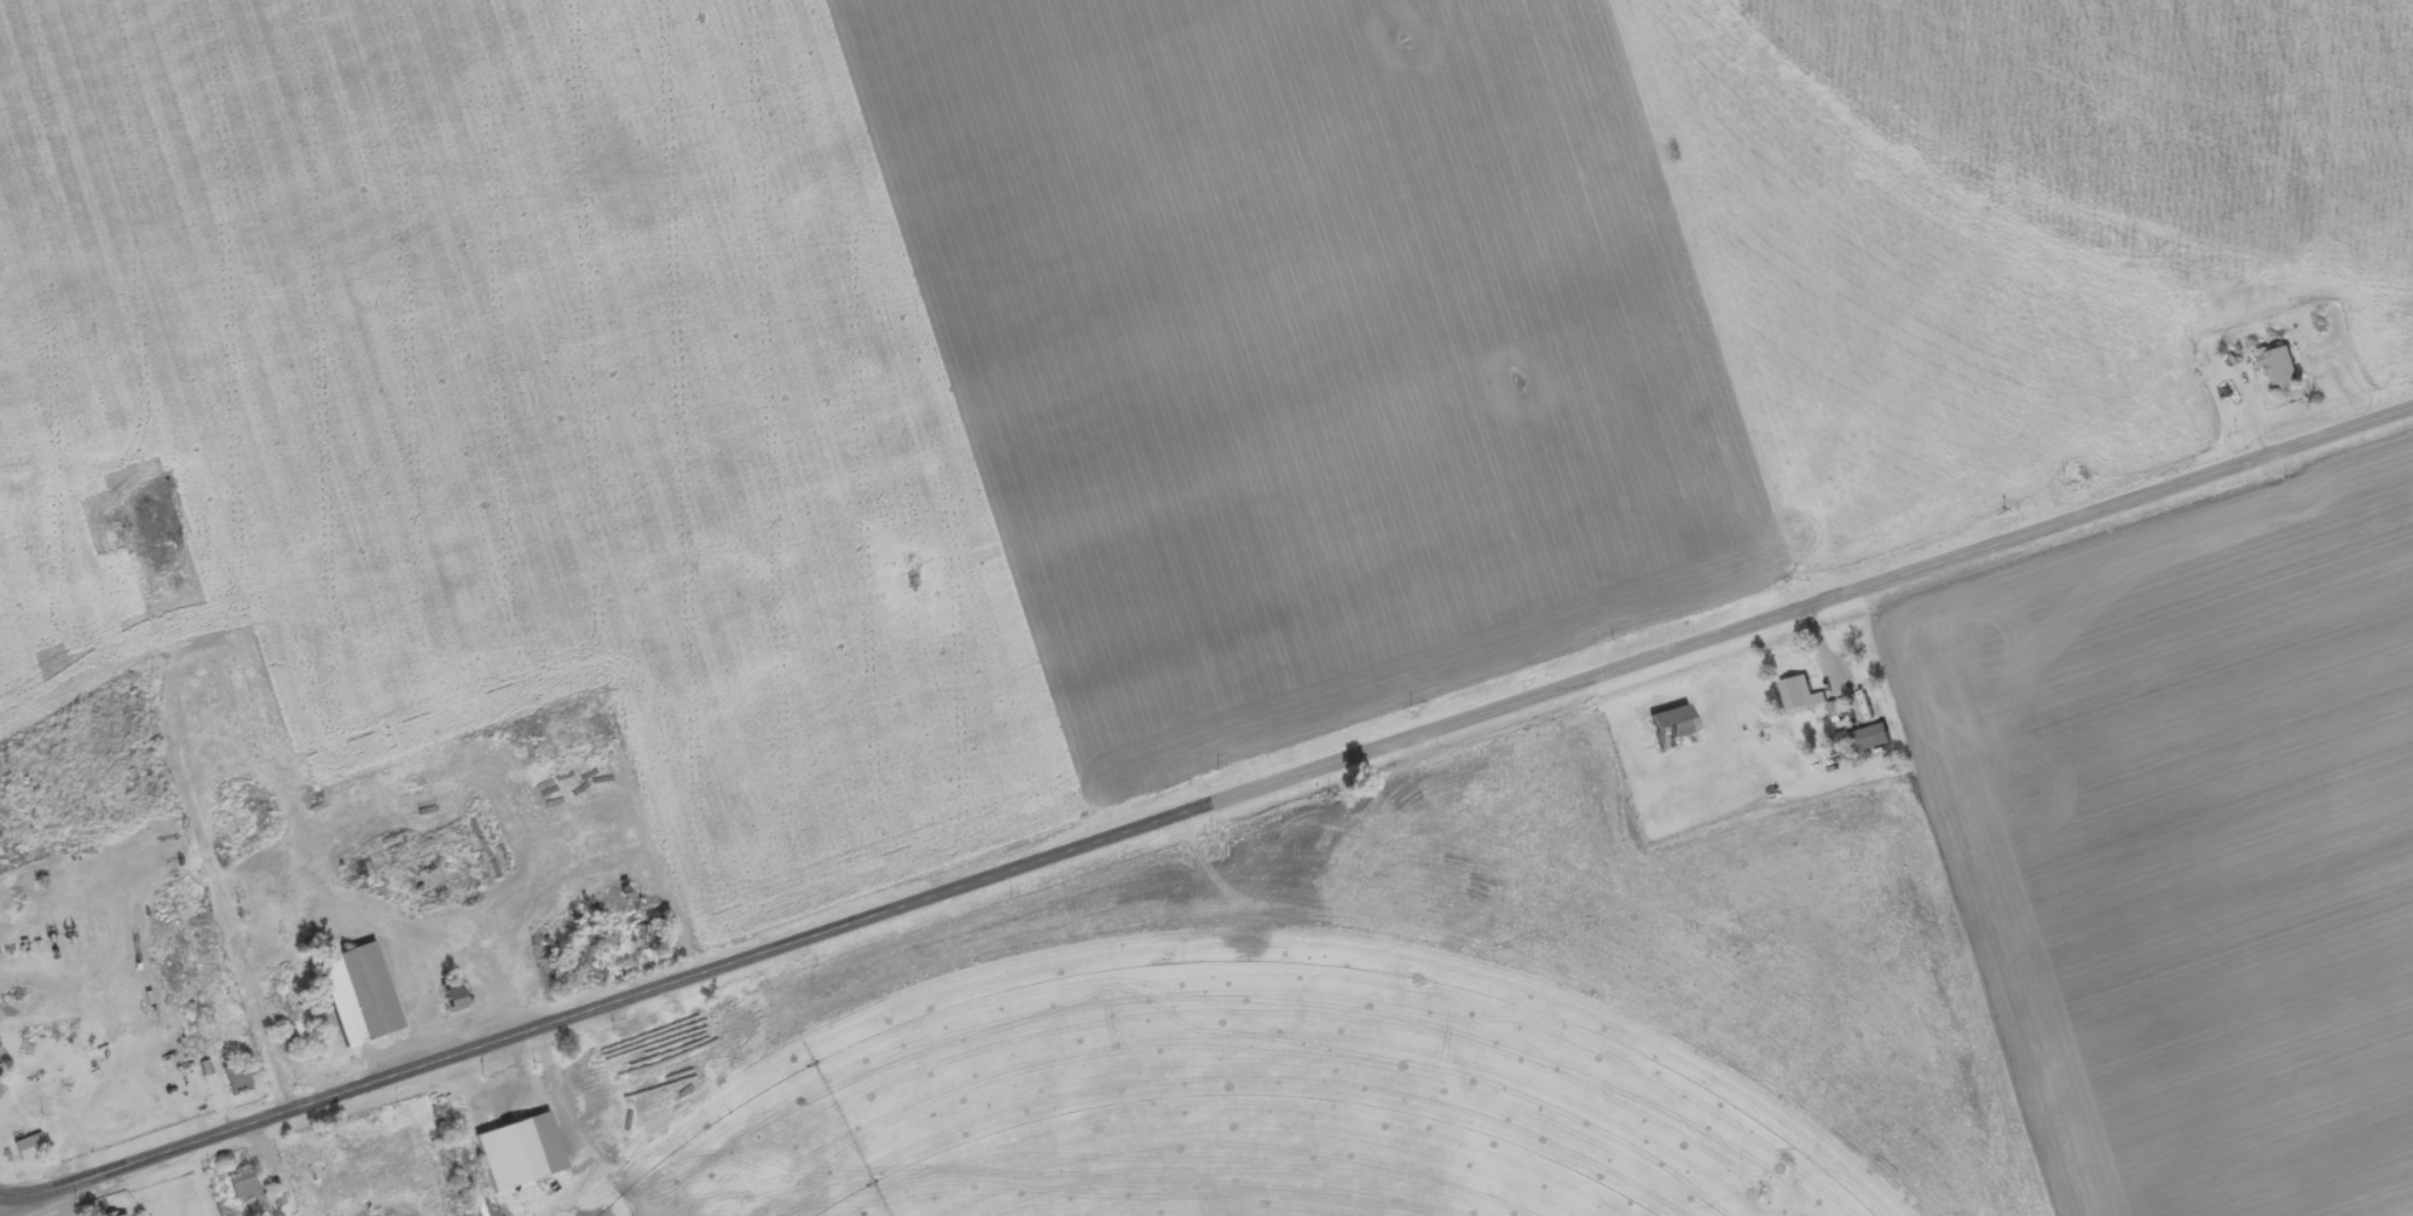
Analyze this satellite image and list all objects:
building: (2285, 370)
road: (1850, 590)
building: (1805, 695)
building: (1677, 728)
building: (1874, 737)
building: (565, 971)
road: (646, 995)
building: (364, 996)
building: (458, 1000)
building: (242, 1081)
building: (675, 1090)
building: (33, 1148)
building: (525, 1154)
building: (247, 1188)
building: (125, 1215)

